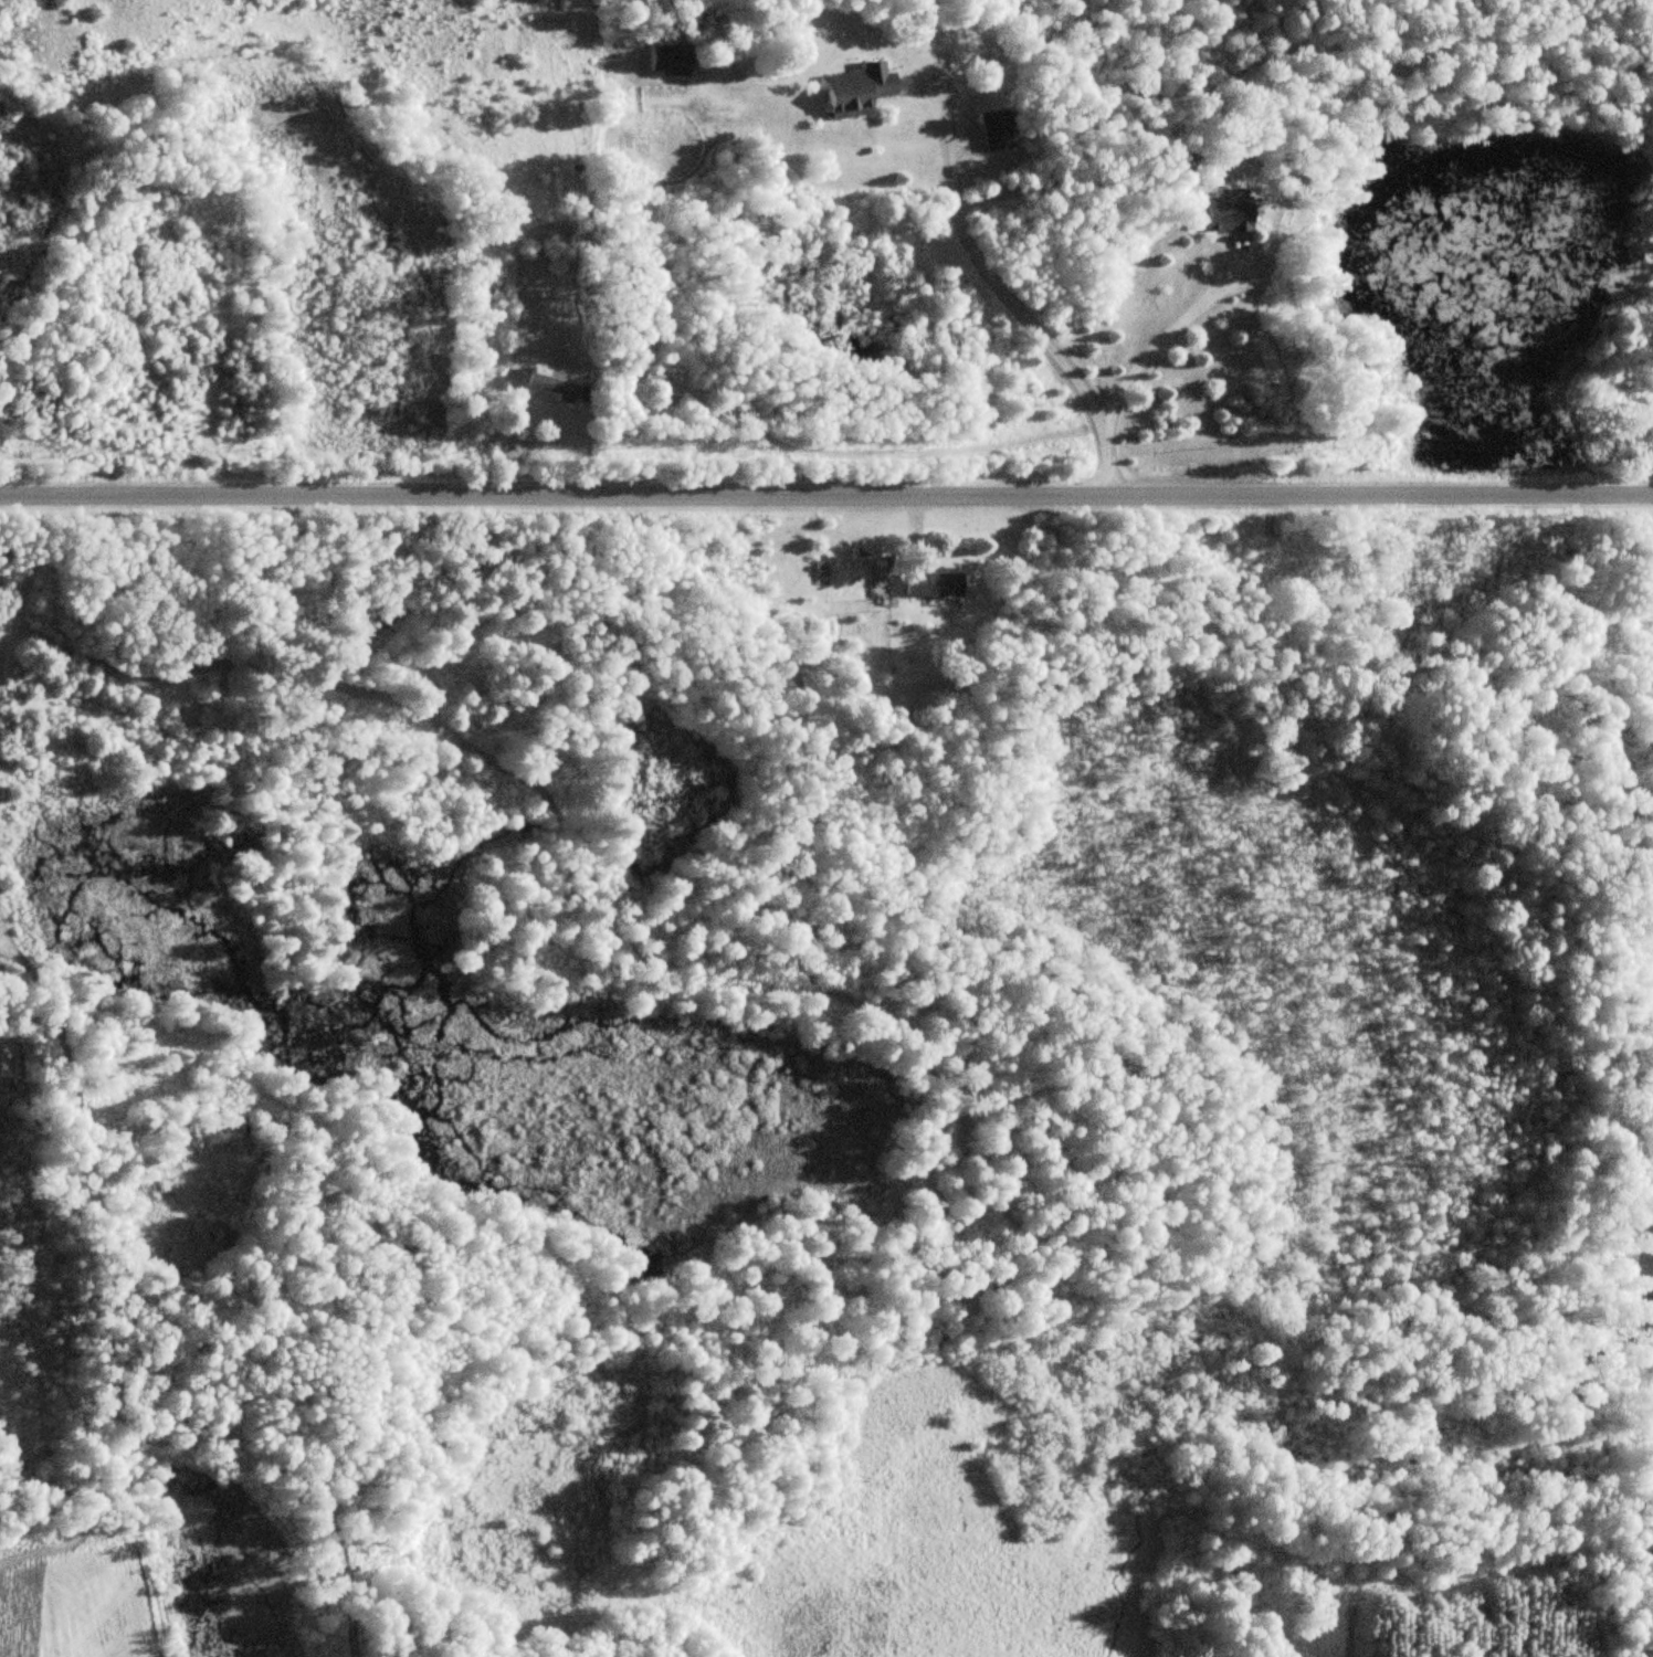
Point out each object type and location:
building: (674, 60)
building: (861, 89)
building: (998, 129)
building: (1232, 213)
building: (552, 383)
road: (826, 486)
building: (938, 582)

